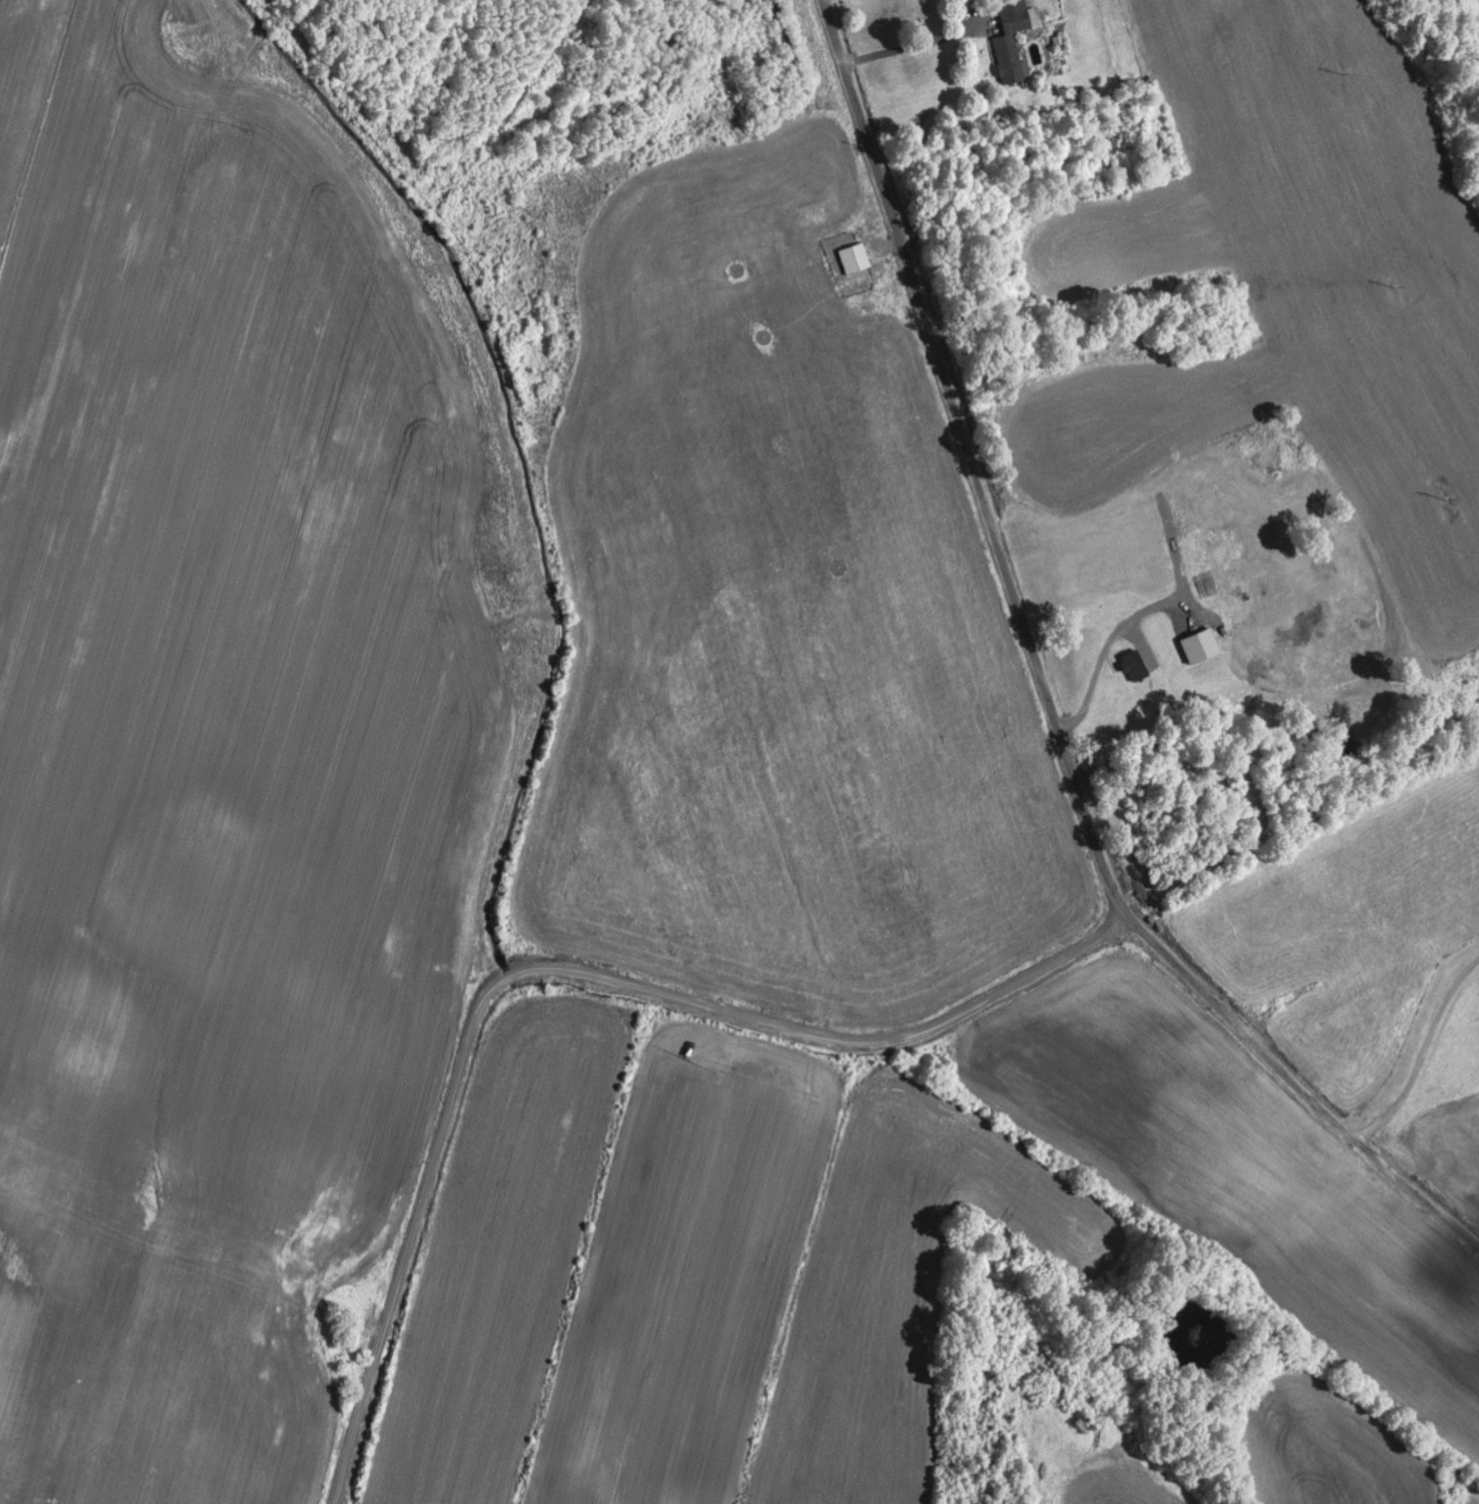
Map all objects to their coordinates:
building: (1016, 44)
building: (858, 260)
building: (1204, 647)
building: (1138, 666)
road: (1045, 689)
road: (561, 972)

